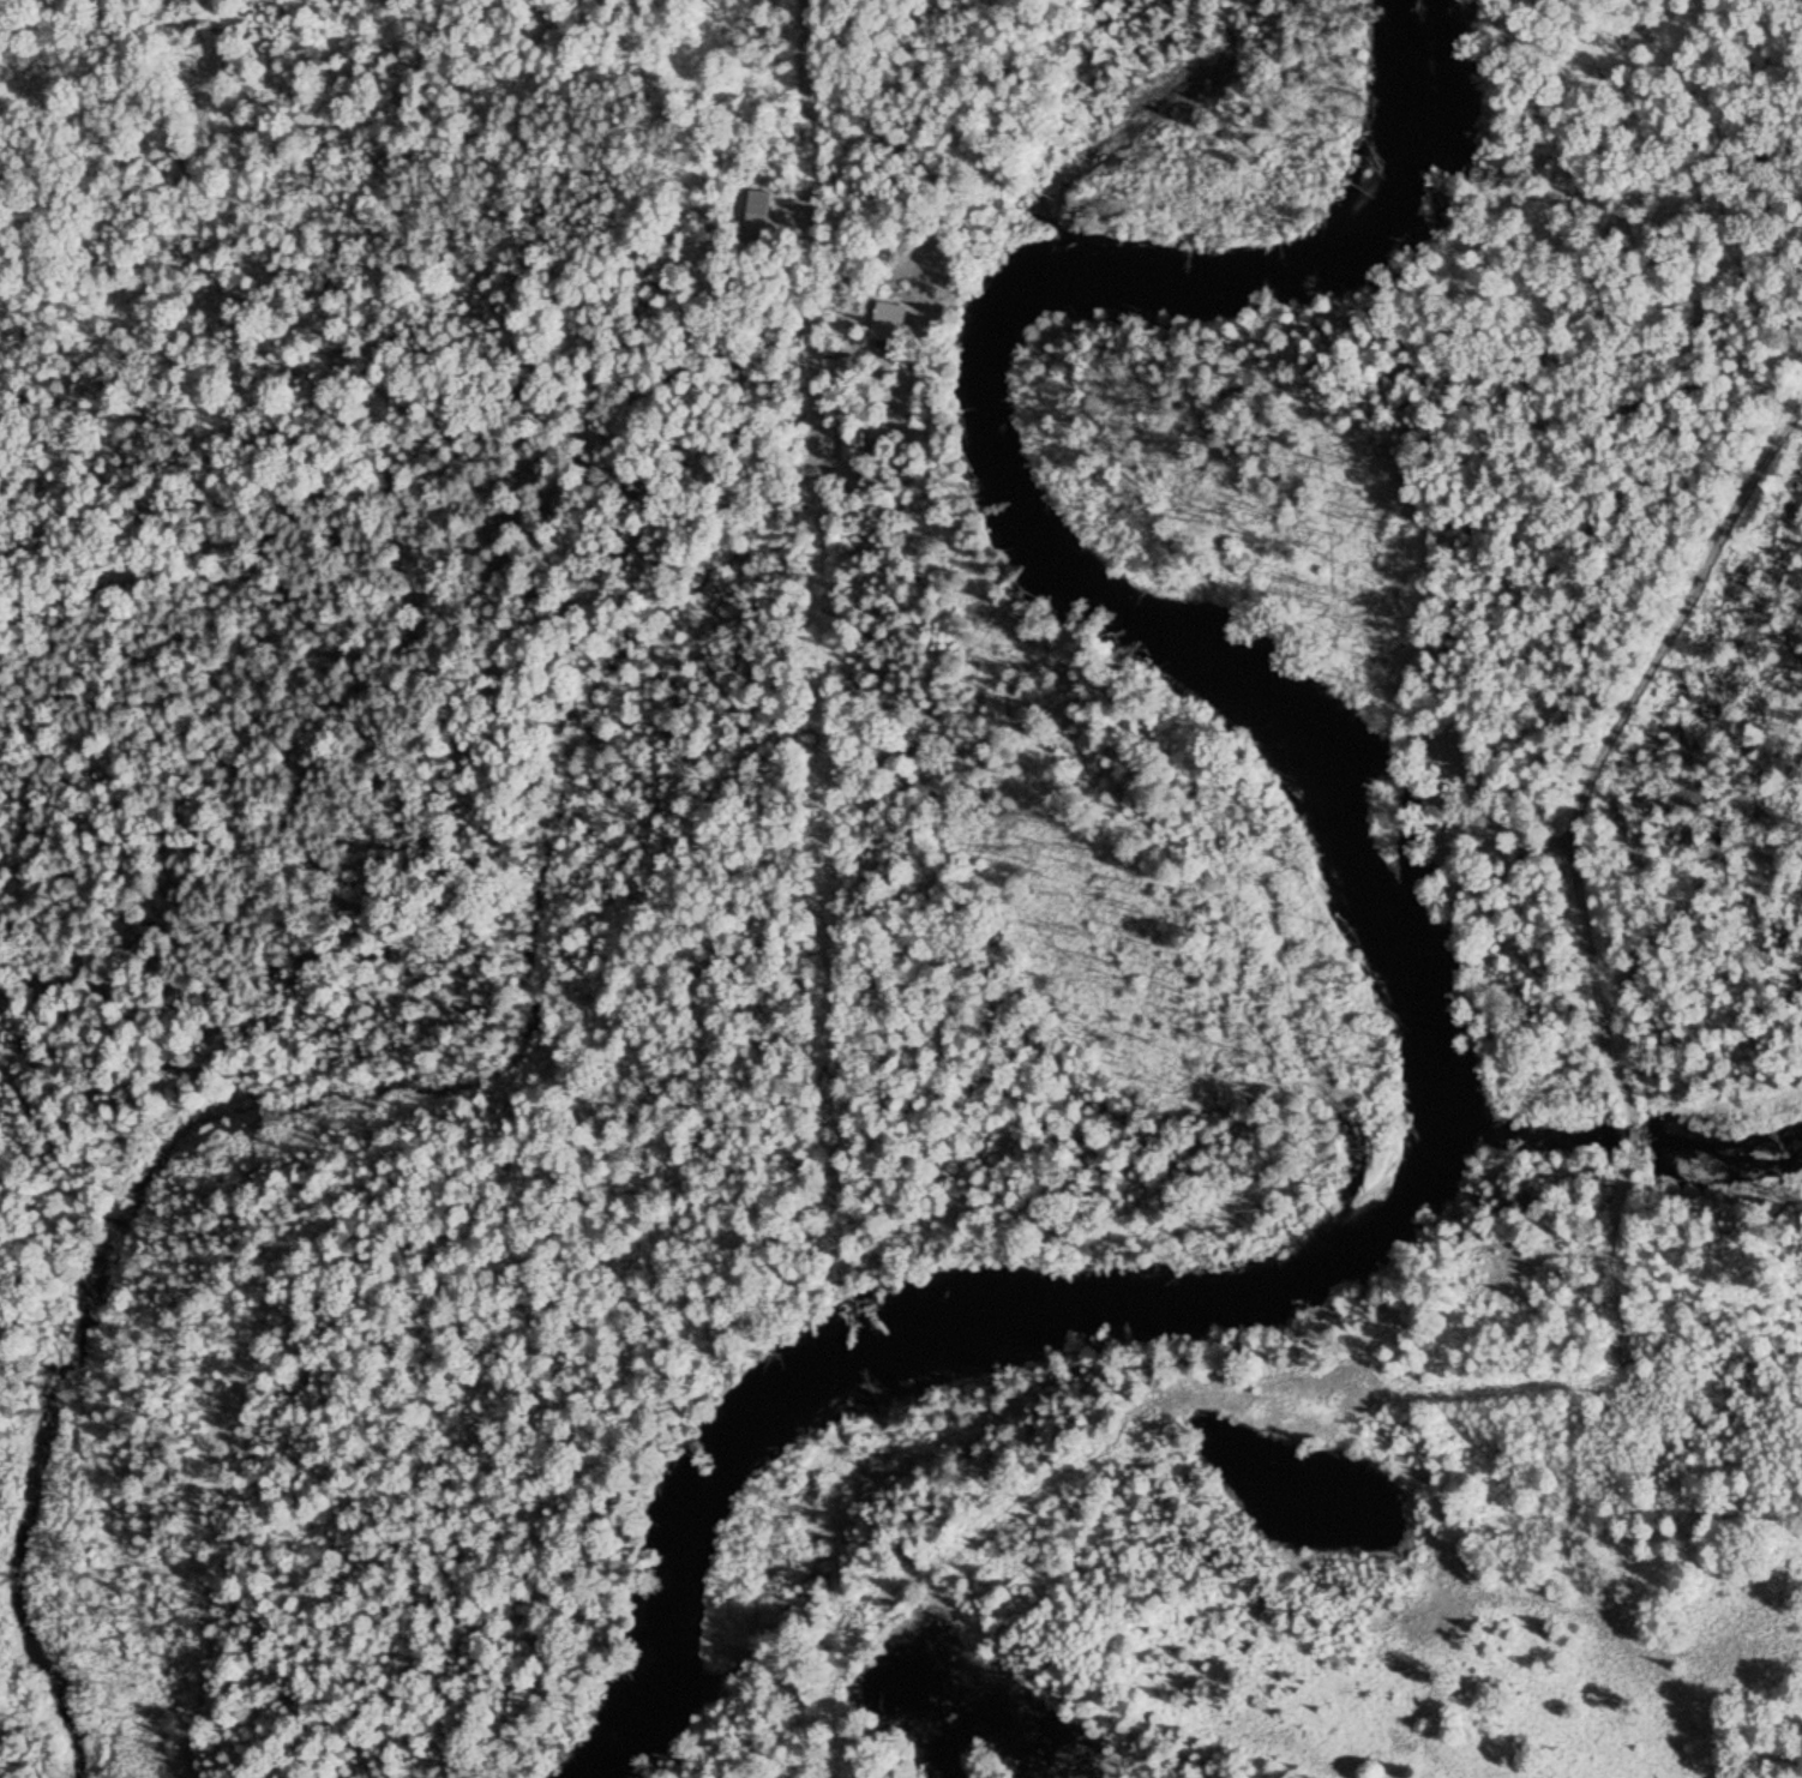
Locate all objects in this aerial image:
road: (809, 84)
building: (761, 211)
road: (936, 260)
building: (891, 320)
building: (857, 450)
road: (1458, 627)
river: (1382, 908)
road: (1634, 1133)
road: (1530, 1352)

